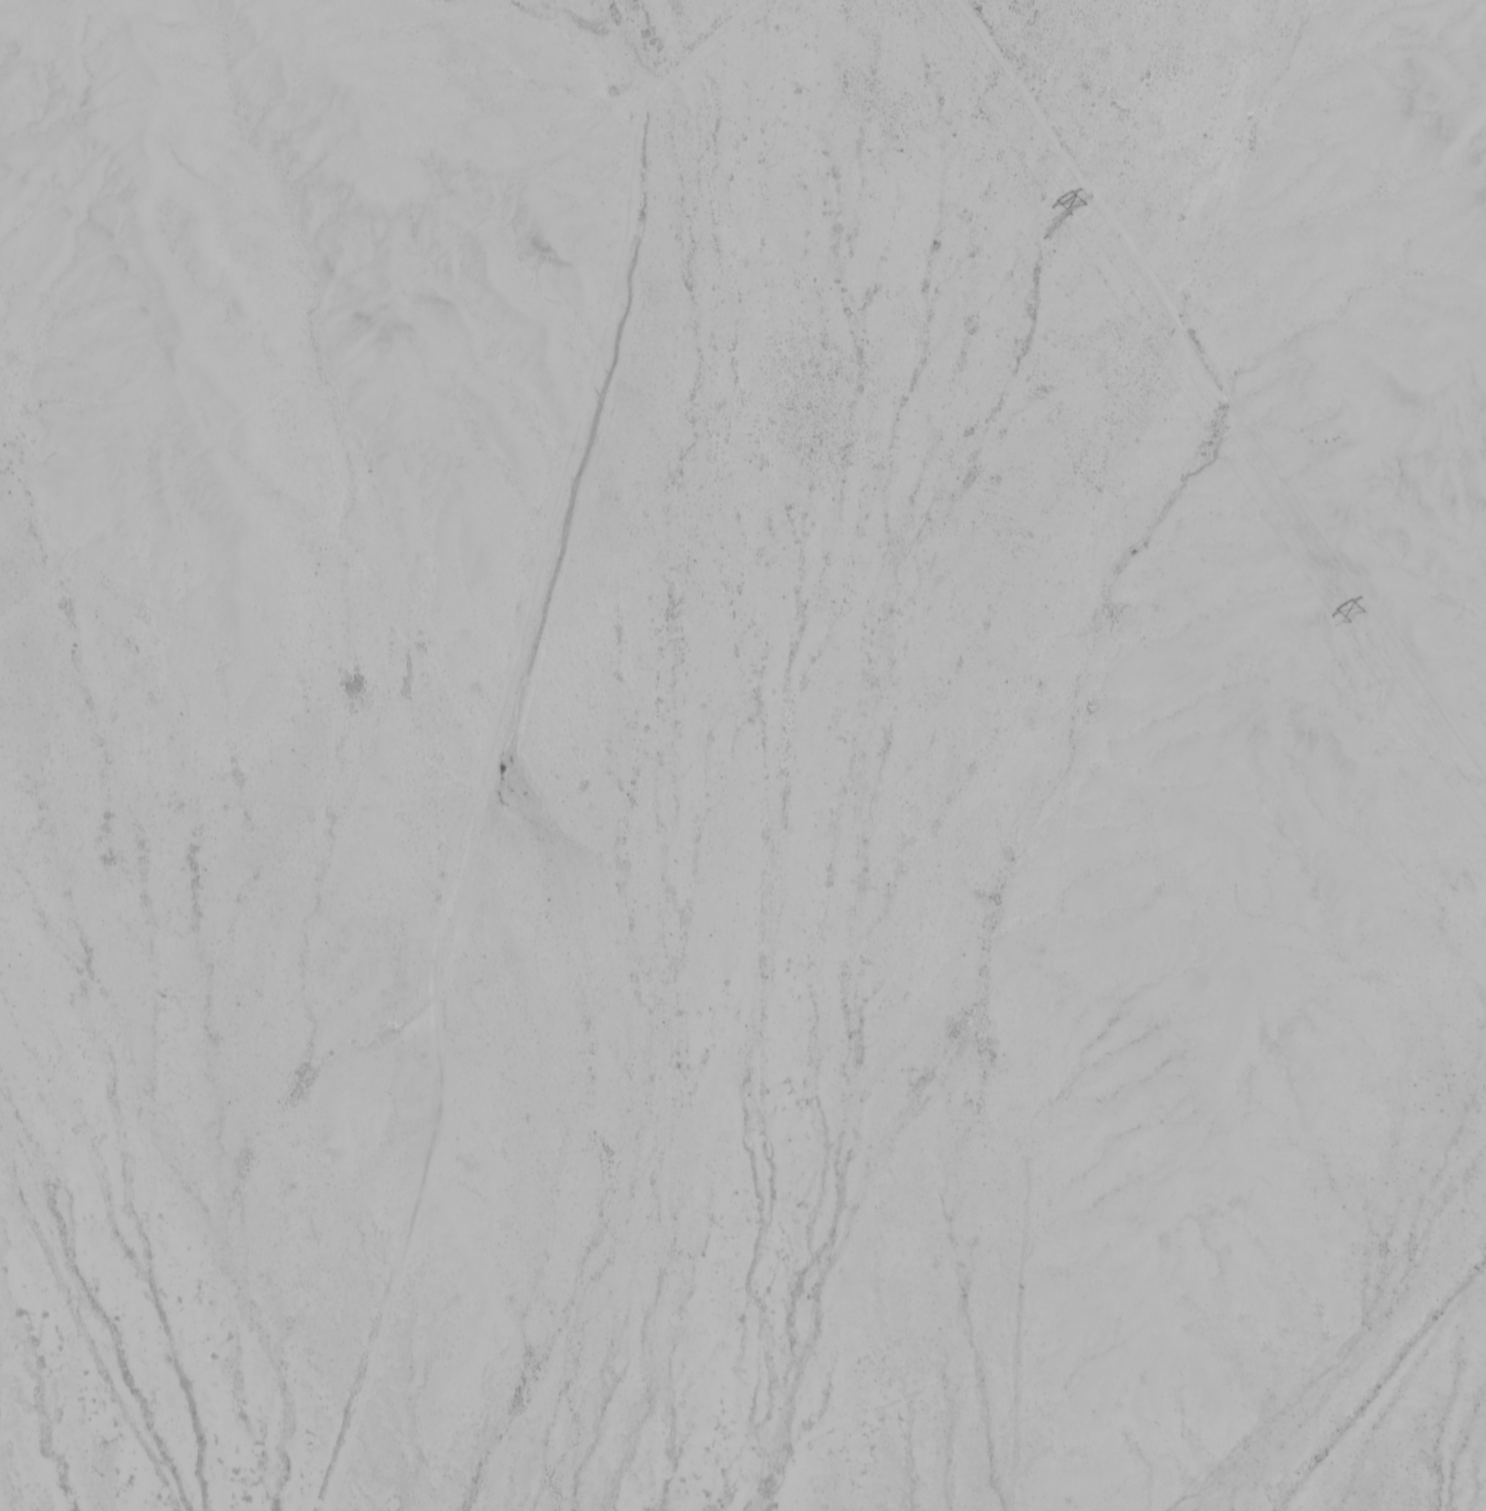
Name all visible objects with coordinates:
power tower: (1076, 203)
power tower: (1358, 612)

